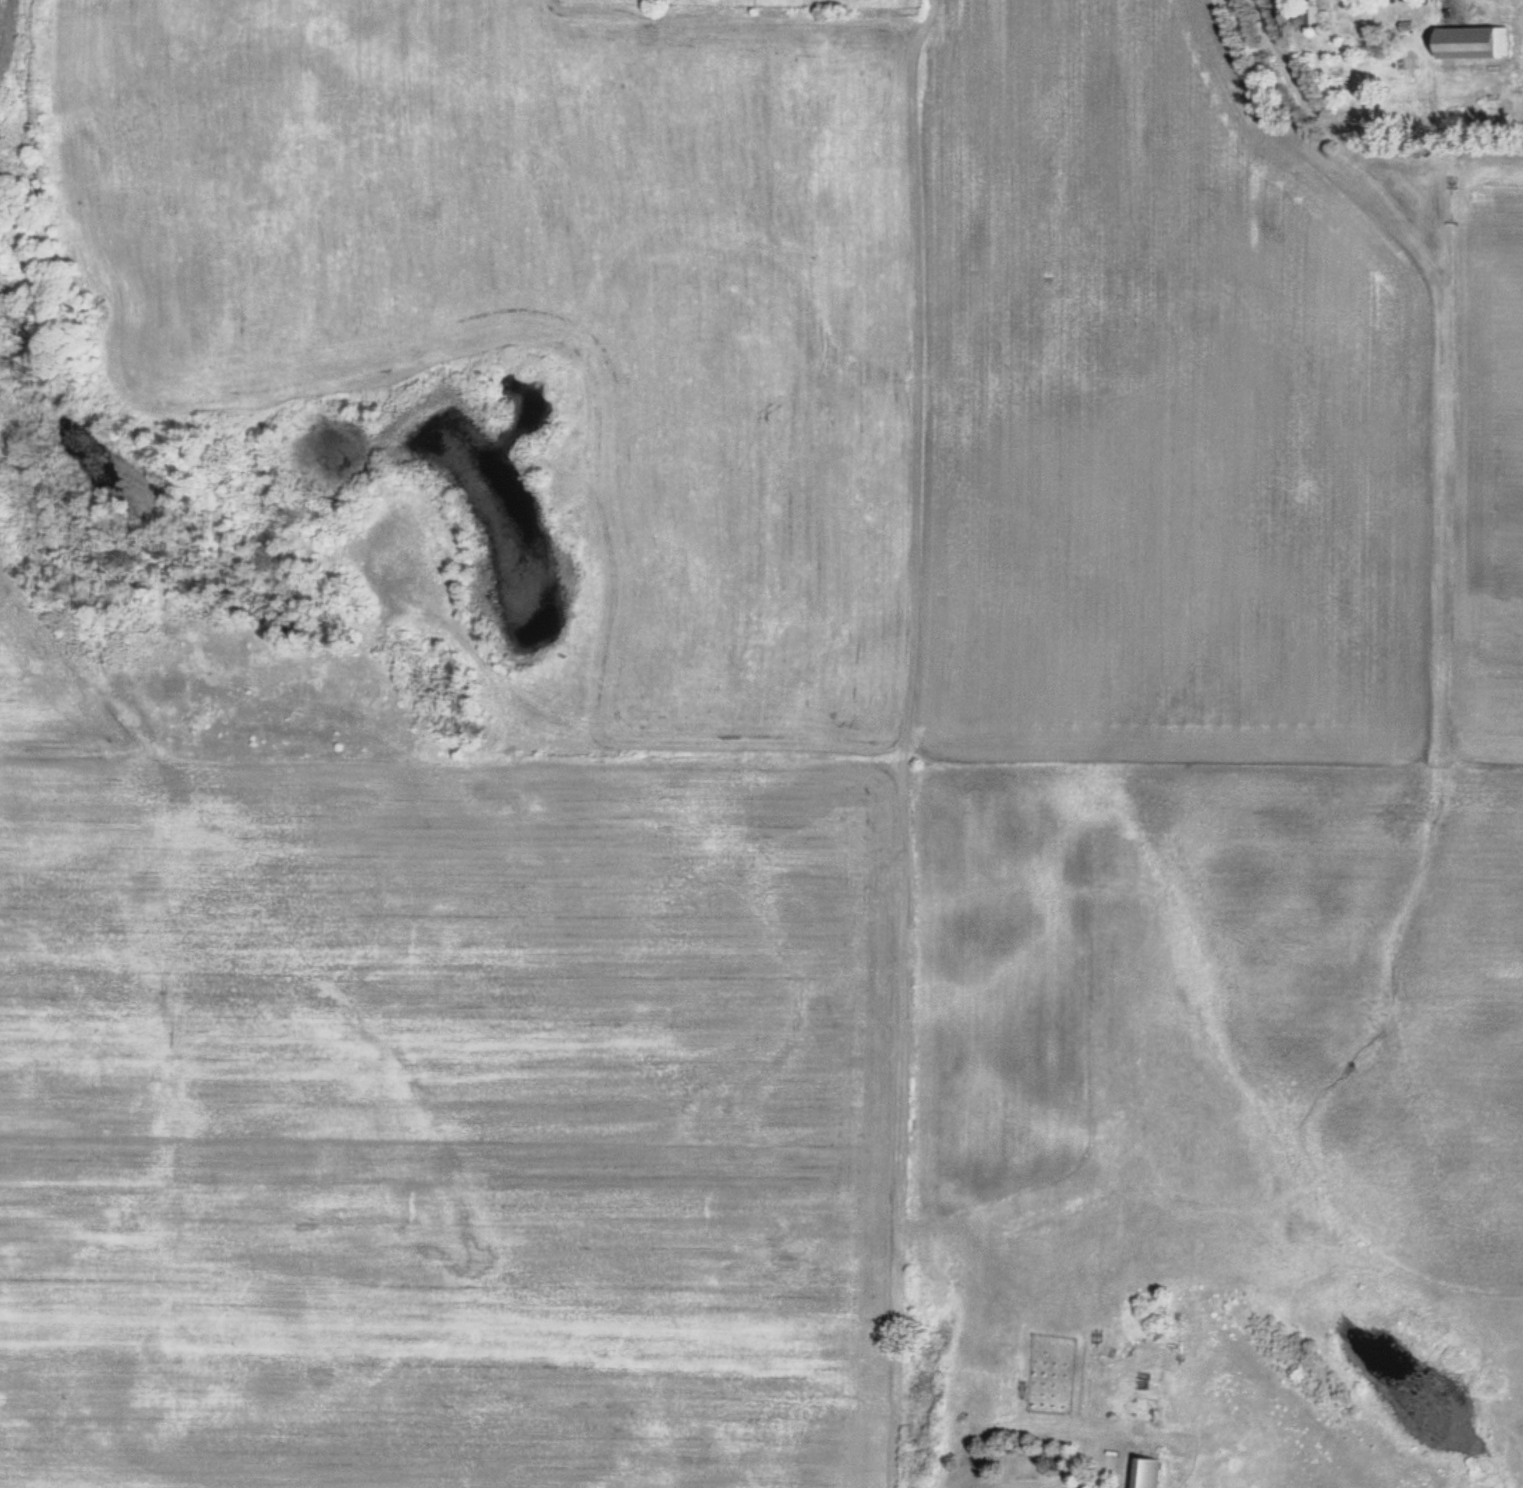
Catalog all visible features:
building: (1308, 12)
building: (1470, 44)
building: (1145, 1473)

